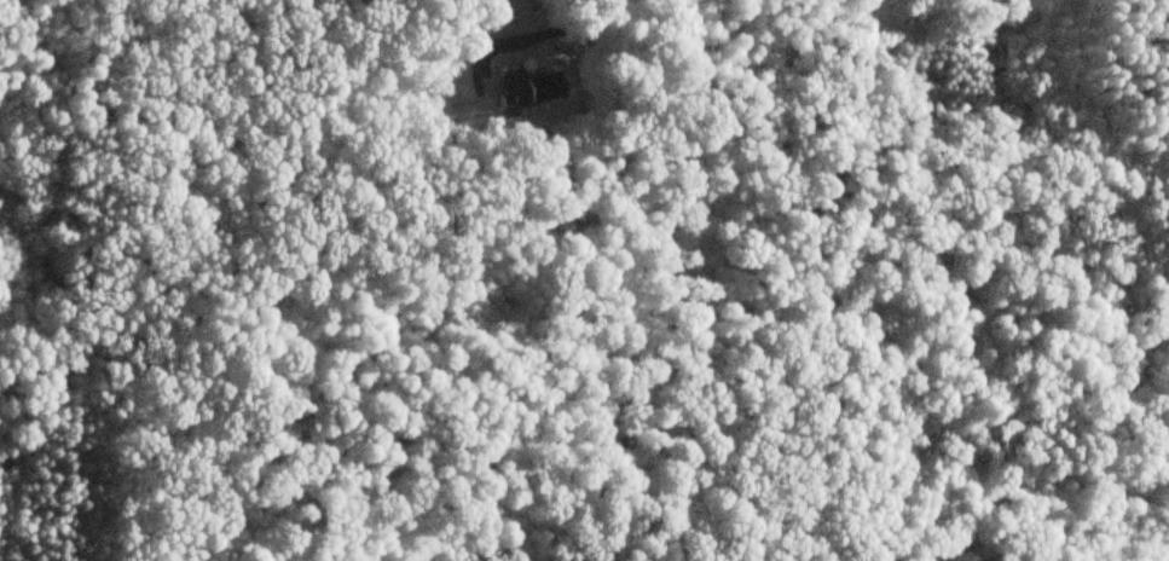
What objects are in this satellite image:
road: (544, 33)
building: (522, 88)

